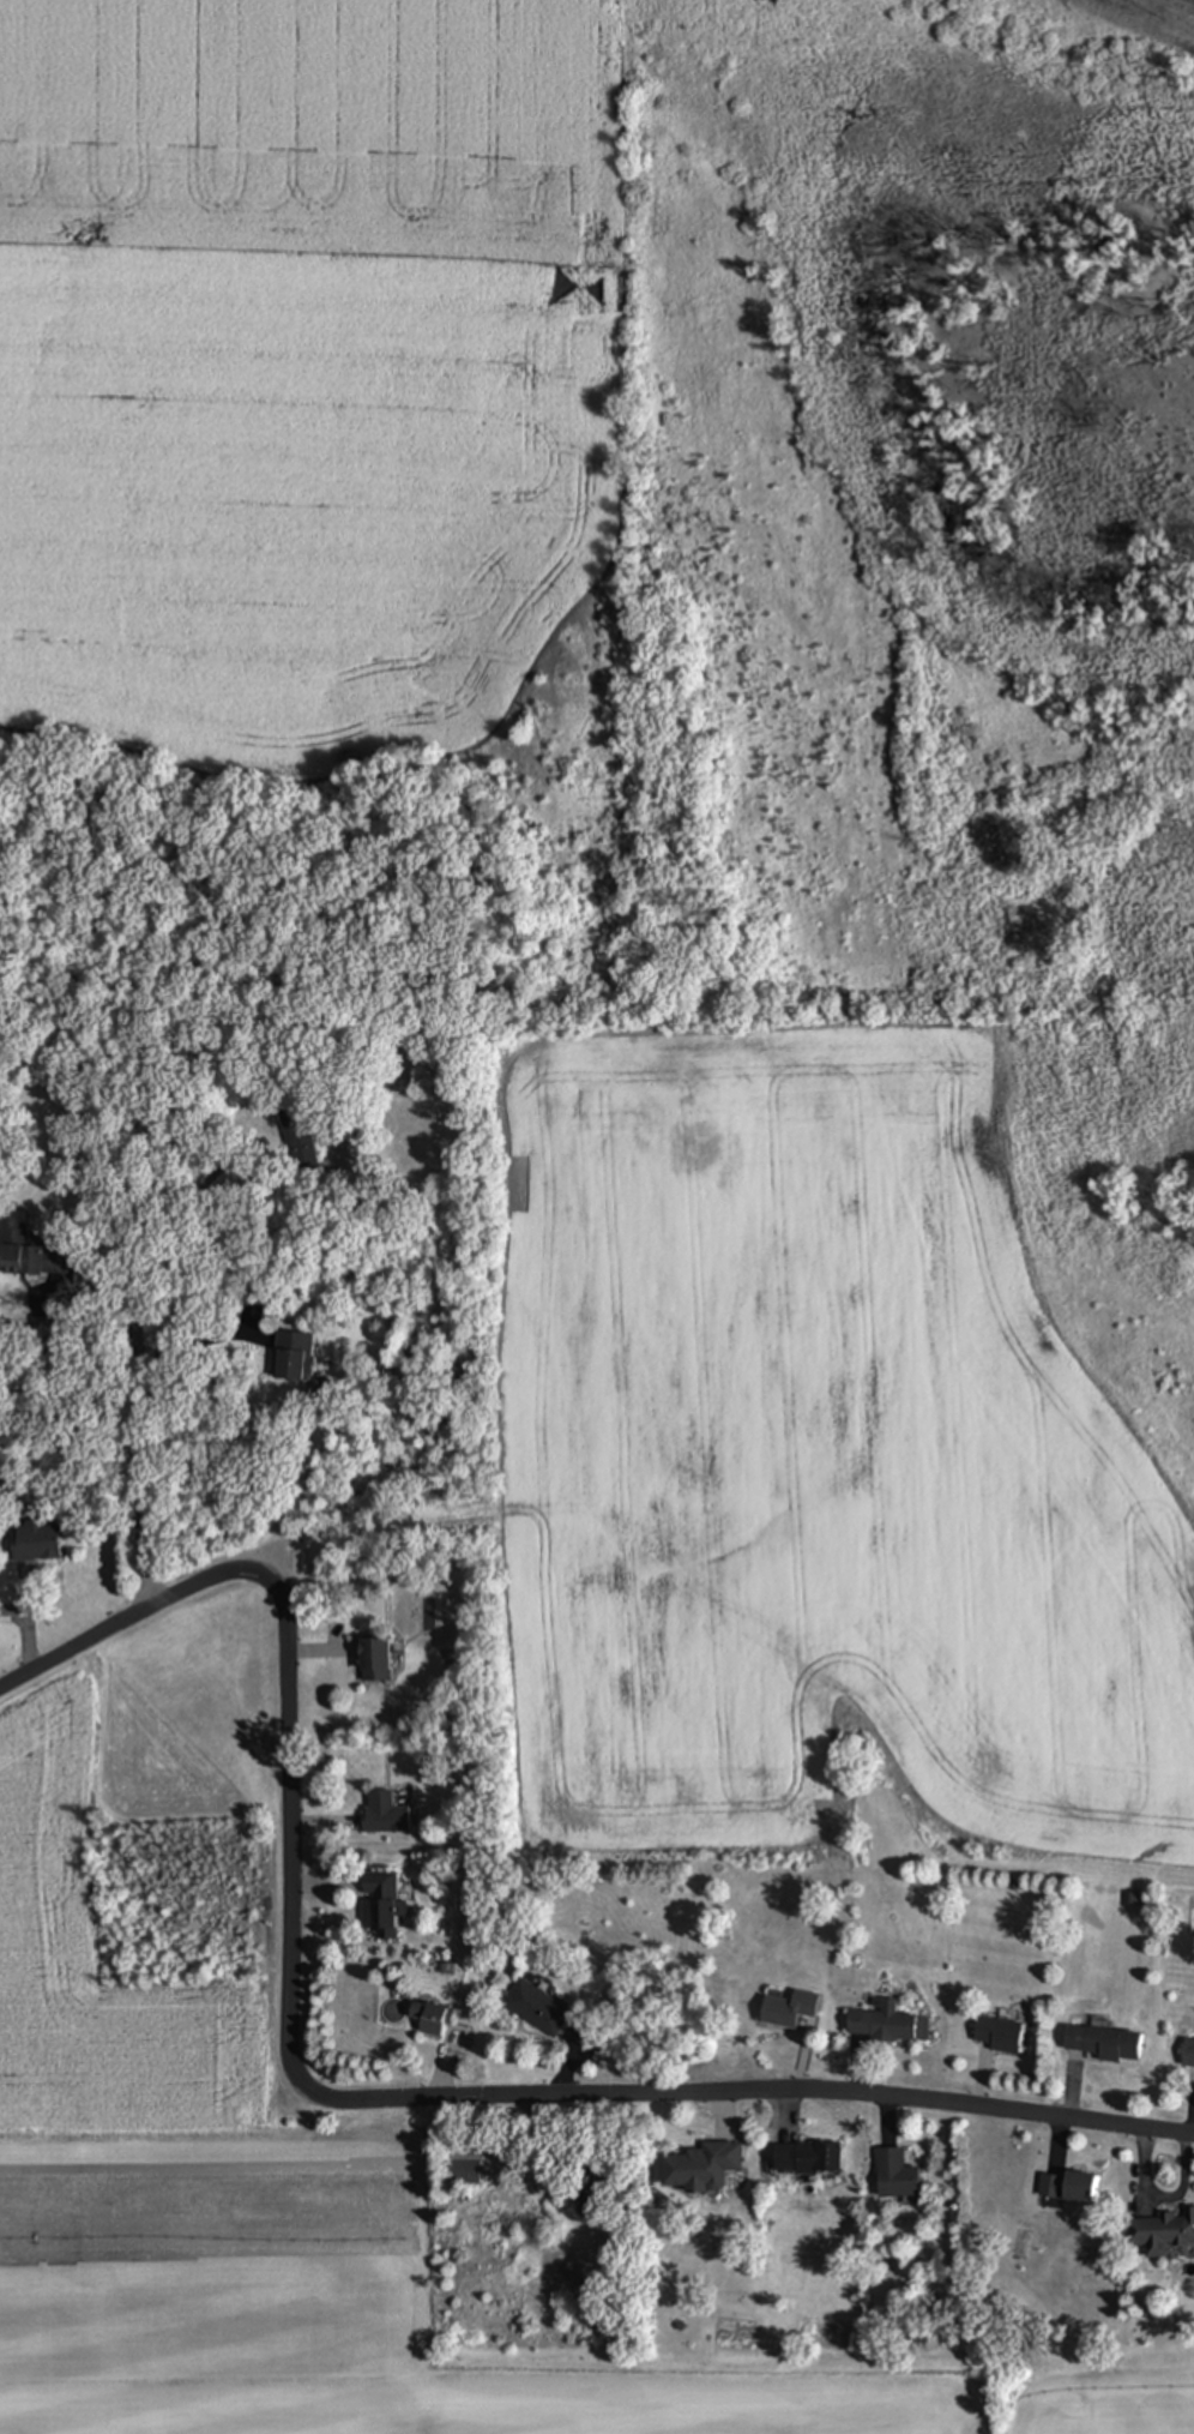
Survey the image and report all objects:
building: (298, 1141)
road: (168, 1216)
building: (30, 1257)
building: (294, 1359)
road: (134, 1406)
building: (35, 1543)
building: (374, 1661)
building: (385, 1815)
building: (380, 1905)
building: (538, 2008)
building: (790, 2011)
building: (429, 2019)
building: (888, 2026)
building: (999, 2036)
building: (1103, 2044)
building: (1188, 2054)
road: (339, 2099)
building: (807, 2158)
building: (701, 2168)
building: (464, 2174)
building: (895, 2176)
building: (1068, 2188)
building: (1163, 2235)

